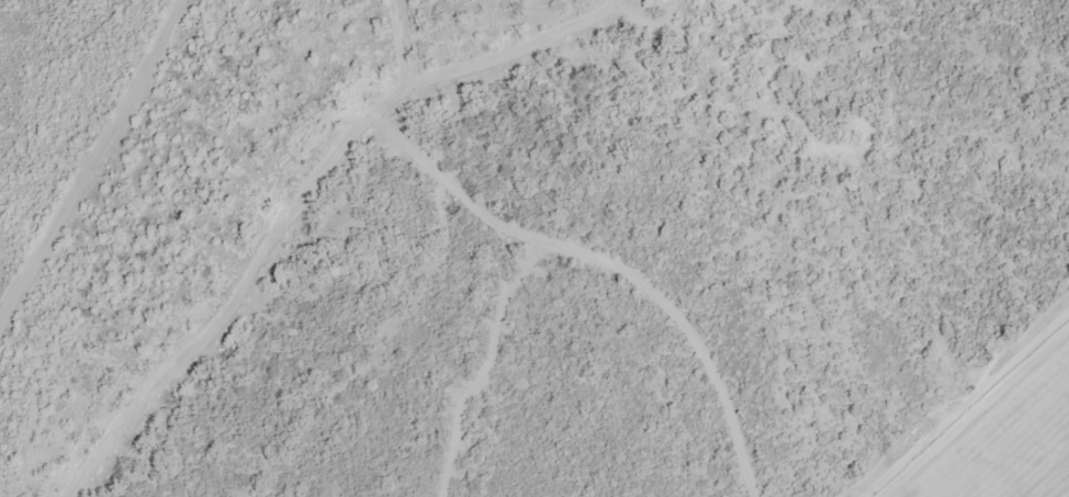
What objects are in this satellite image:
road: (24, 47)
road: (92, 160)
road: (614, 266)
road: (487, 372)

